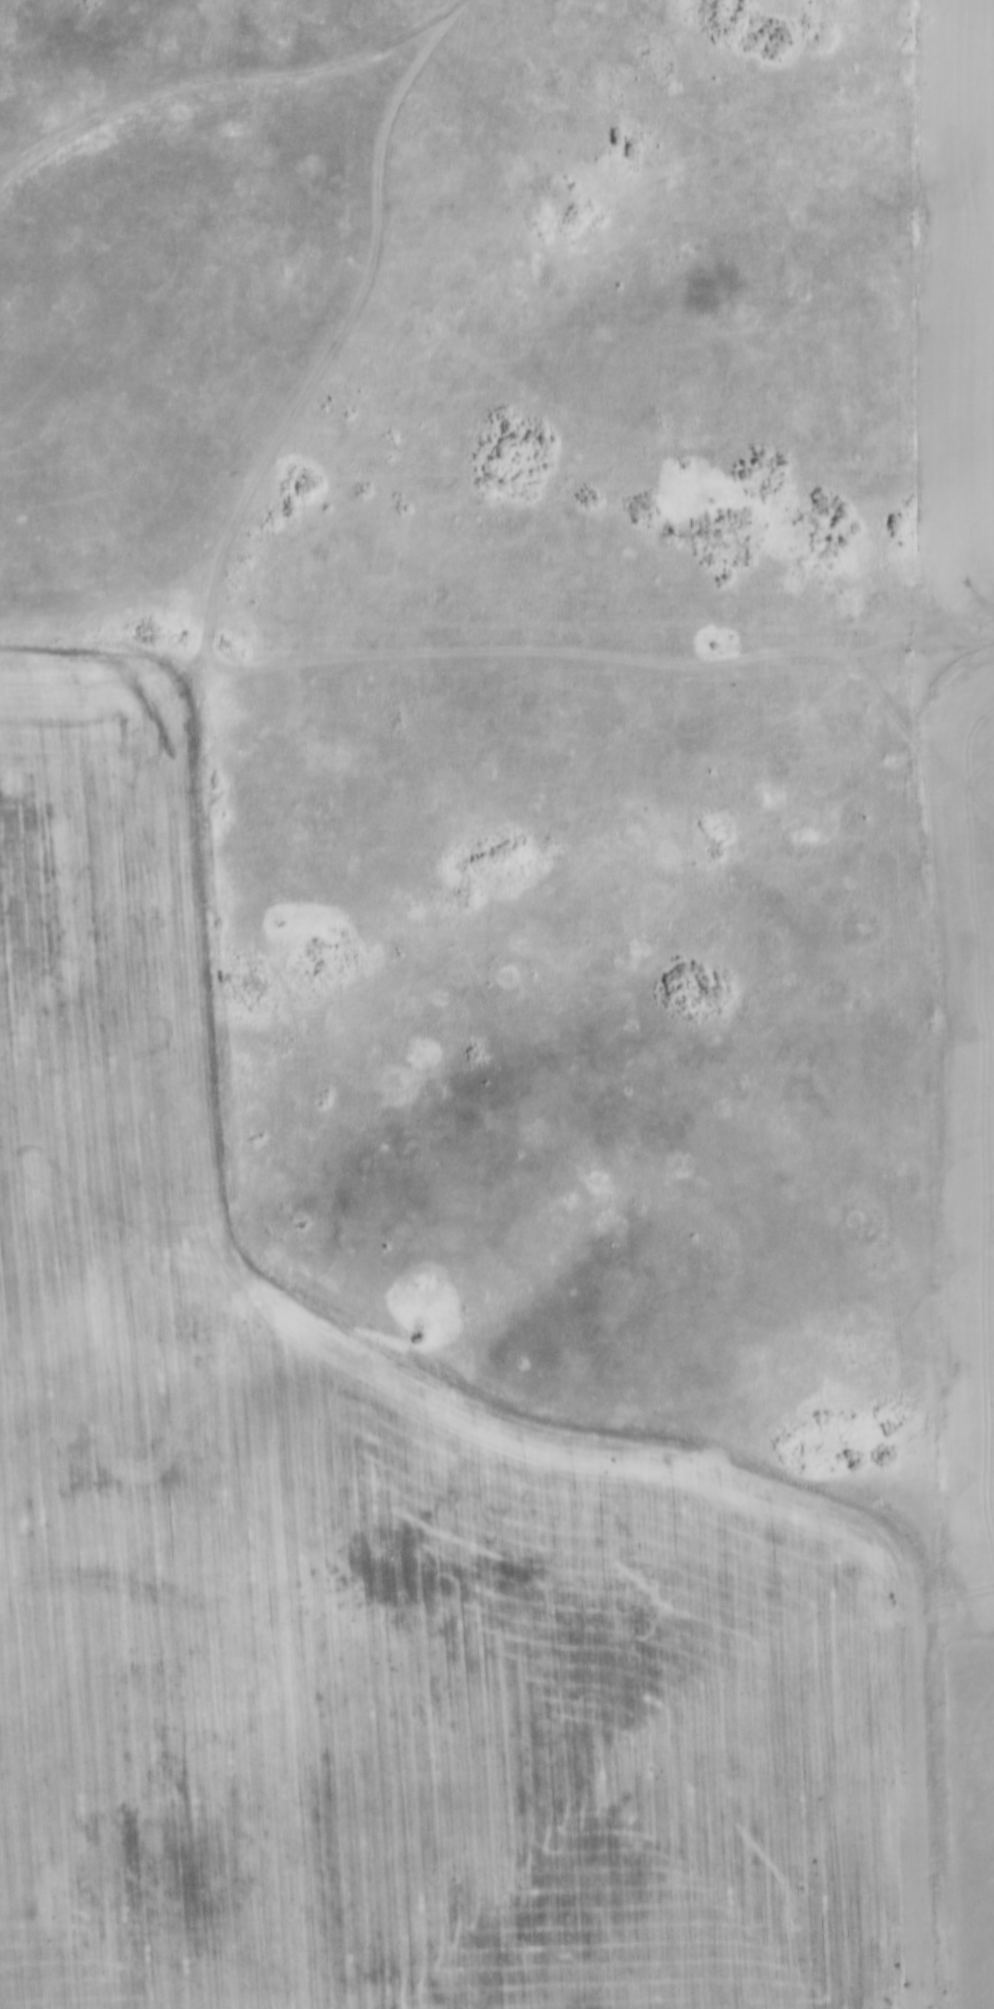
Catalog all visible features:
road: (226, 74)
road: (346, 332)

